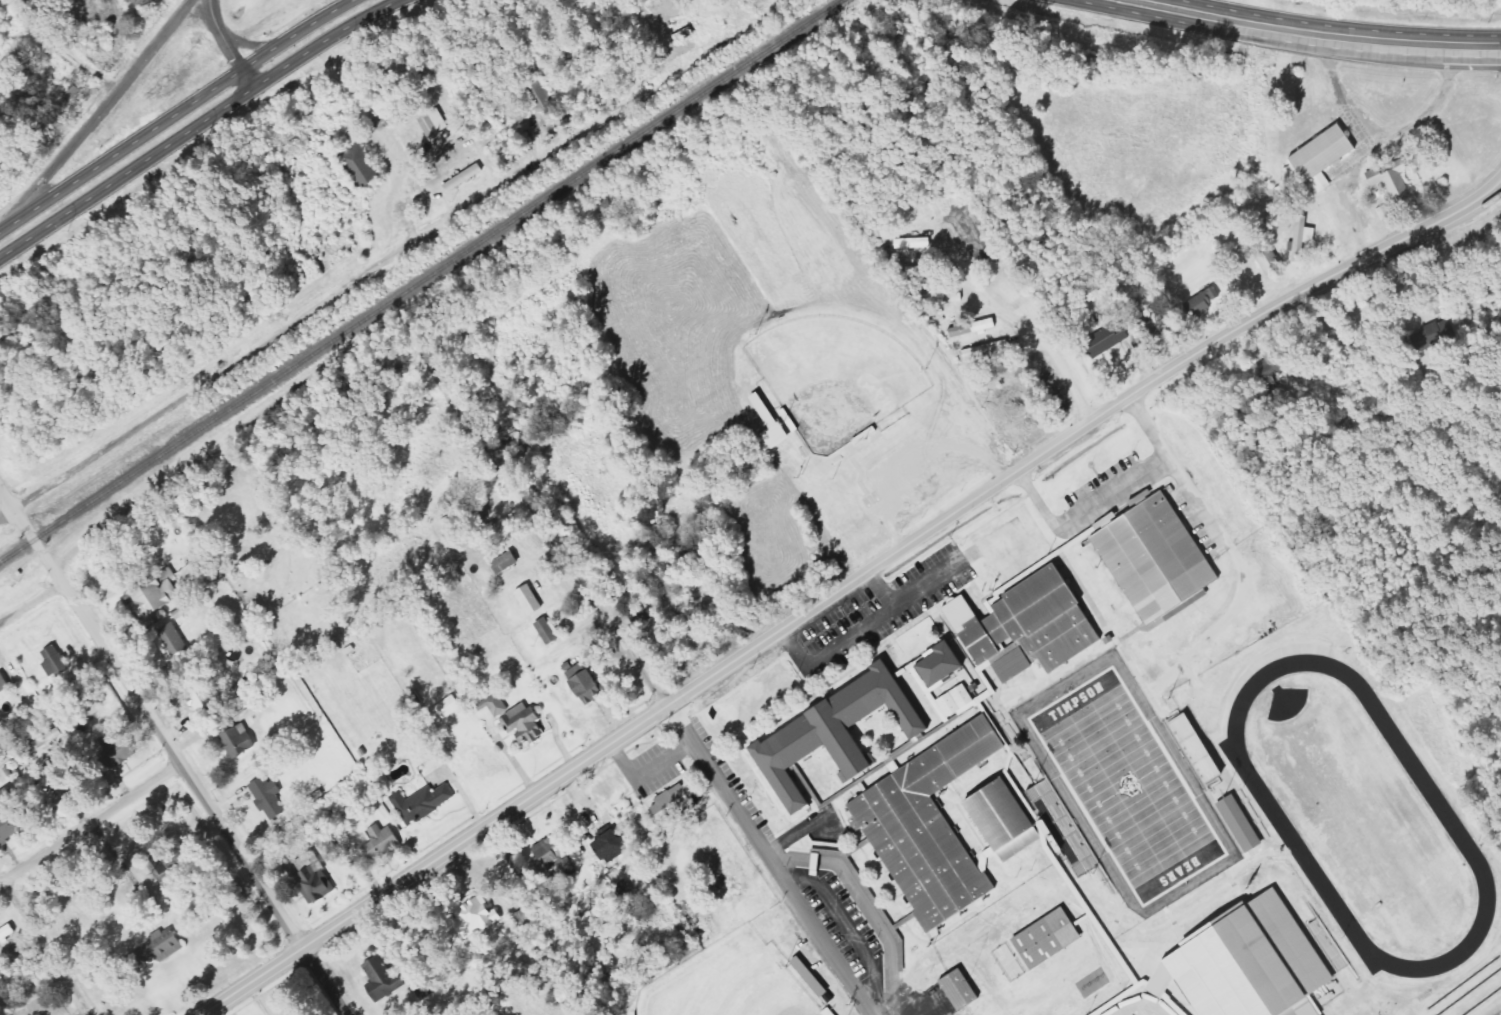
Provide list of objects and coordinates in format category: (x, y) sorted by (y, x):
road: (1144, 1)
road: (1112, 4)
road: (264, 19)
road: (1322, 34)
road: (248, 43)
road: (228, 45)
road: (65, 46)
building: (543, 96)
road: (174, 114)
road: (97, 115)
building: (437, 124)
road: (197, 125)
building: (1327, 156)
building: (361, 165)
building: (1396, 180)
building: (1305, 238)
building: (1272, 260)
railway: (421, 281)
building: (1205, 302)
road: (301, 318)
building: (975, 327)
building: (1433, 336)
building: (1111, 339)
road: (1049, 346)
building: (989, 349)
building: (1274, 374)
building: (779, 422)
building: (1111, 521)
building: (1160, 558)
building: (509, 562)
road: (846, 584)
building: (158, 594)
building: (532, 600)
road: (32, 603)
road: (90, 624)
building: (1031, 625)
building: (550, 630)
building: (177, 644)
building: (58, 662)
road: (635, 664)
building: (943, 664)
building: (5, 684)
building: (588, 684)
building: (206, 694)
building: (497, 705)
building: (452, 707)
building: (527, 724)
building: (839, 733)
building: (237, 736)
building: (47, 741)
building: (122, 748)
building: (1196, 748)
park: (1131, 786)
building: (272, 796)
building: (425, 803)
building: (679, 803)
building: (1000, 814)
track: (1362, 814)
building: (12, 818)
building: (1244, 824)
road: (90, 826)
building: (932, 826)
building: (1063, 828)
building: (383, 842)
building: (614, 847)
building: (556, 857)
building: (317, 881)
road: (259, 890)
building: (480, 915)
building: (527, 917)
building: (1219, 927)
building: (1052, 938)
road: (45, 945)
building: (164, 946)
building: (1253, 965)
building: (386, 979)
park: (728, 982)
building: (960, 990)
park: (1091, 996)

